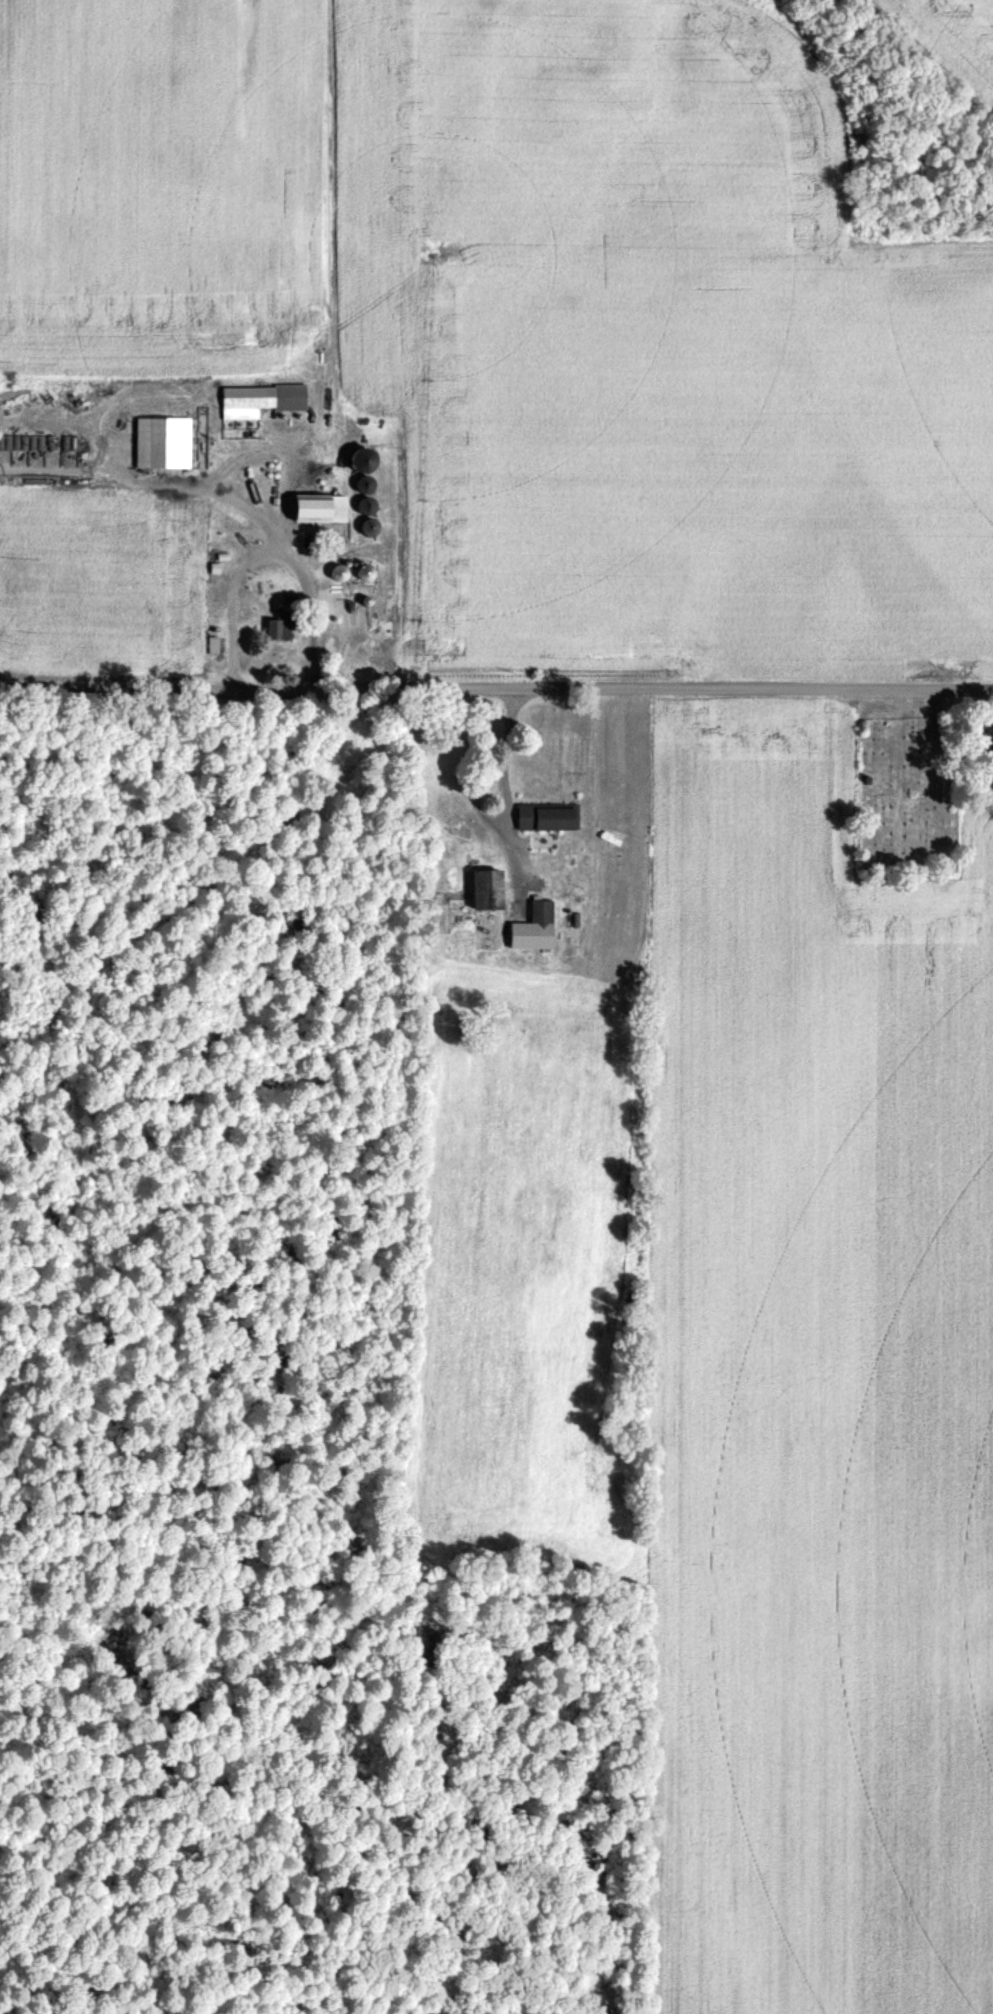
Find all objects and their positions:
building: (265, 400)
building: (166, 443)
building: (323, 508)
road: (266, 551)
building: (284, 626)
building: (214, 644)
road: (496, 689)
road: (507, 753)
park: (910, 794)
building: (547, 817)
building: (484, 889)
building: (541, 914)

